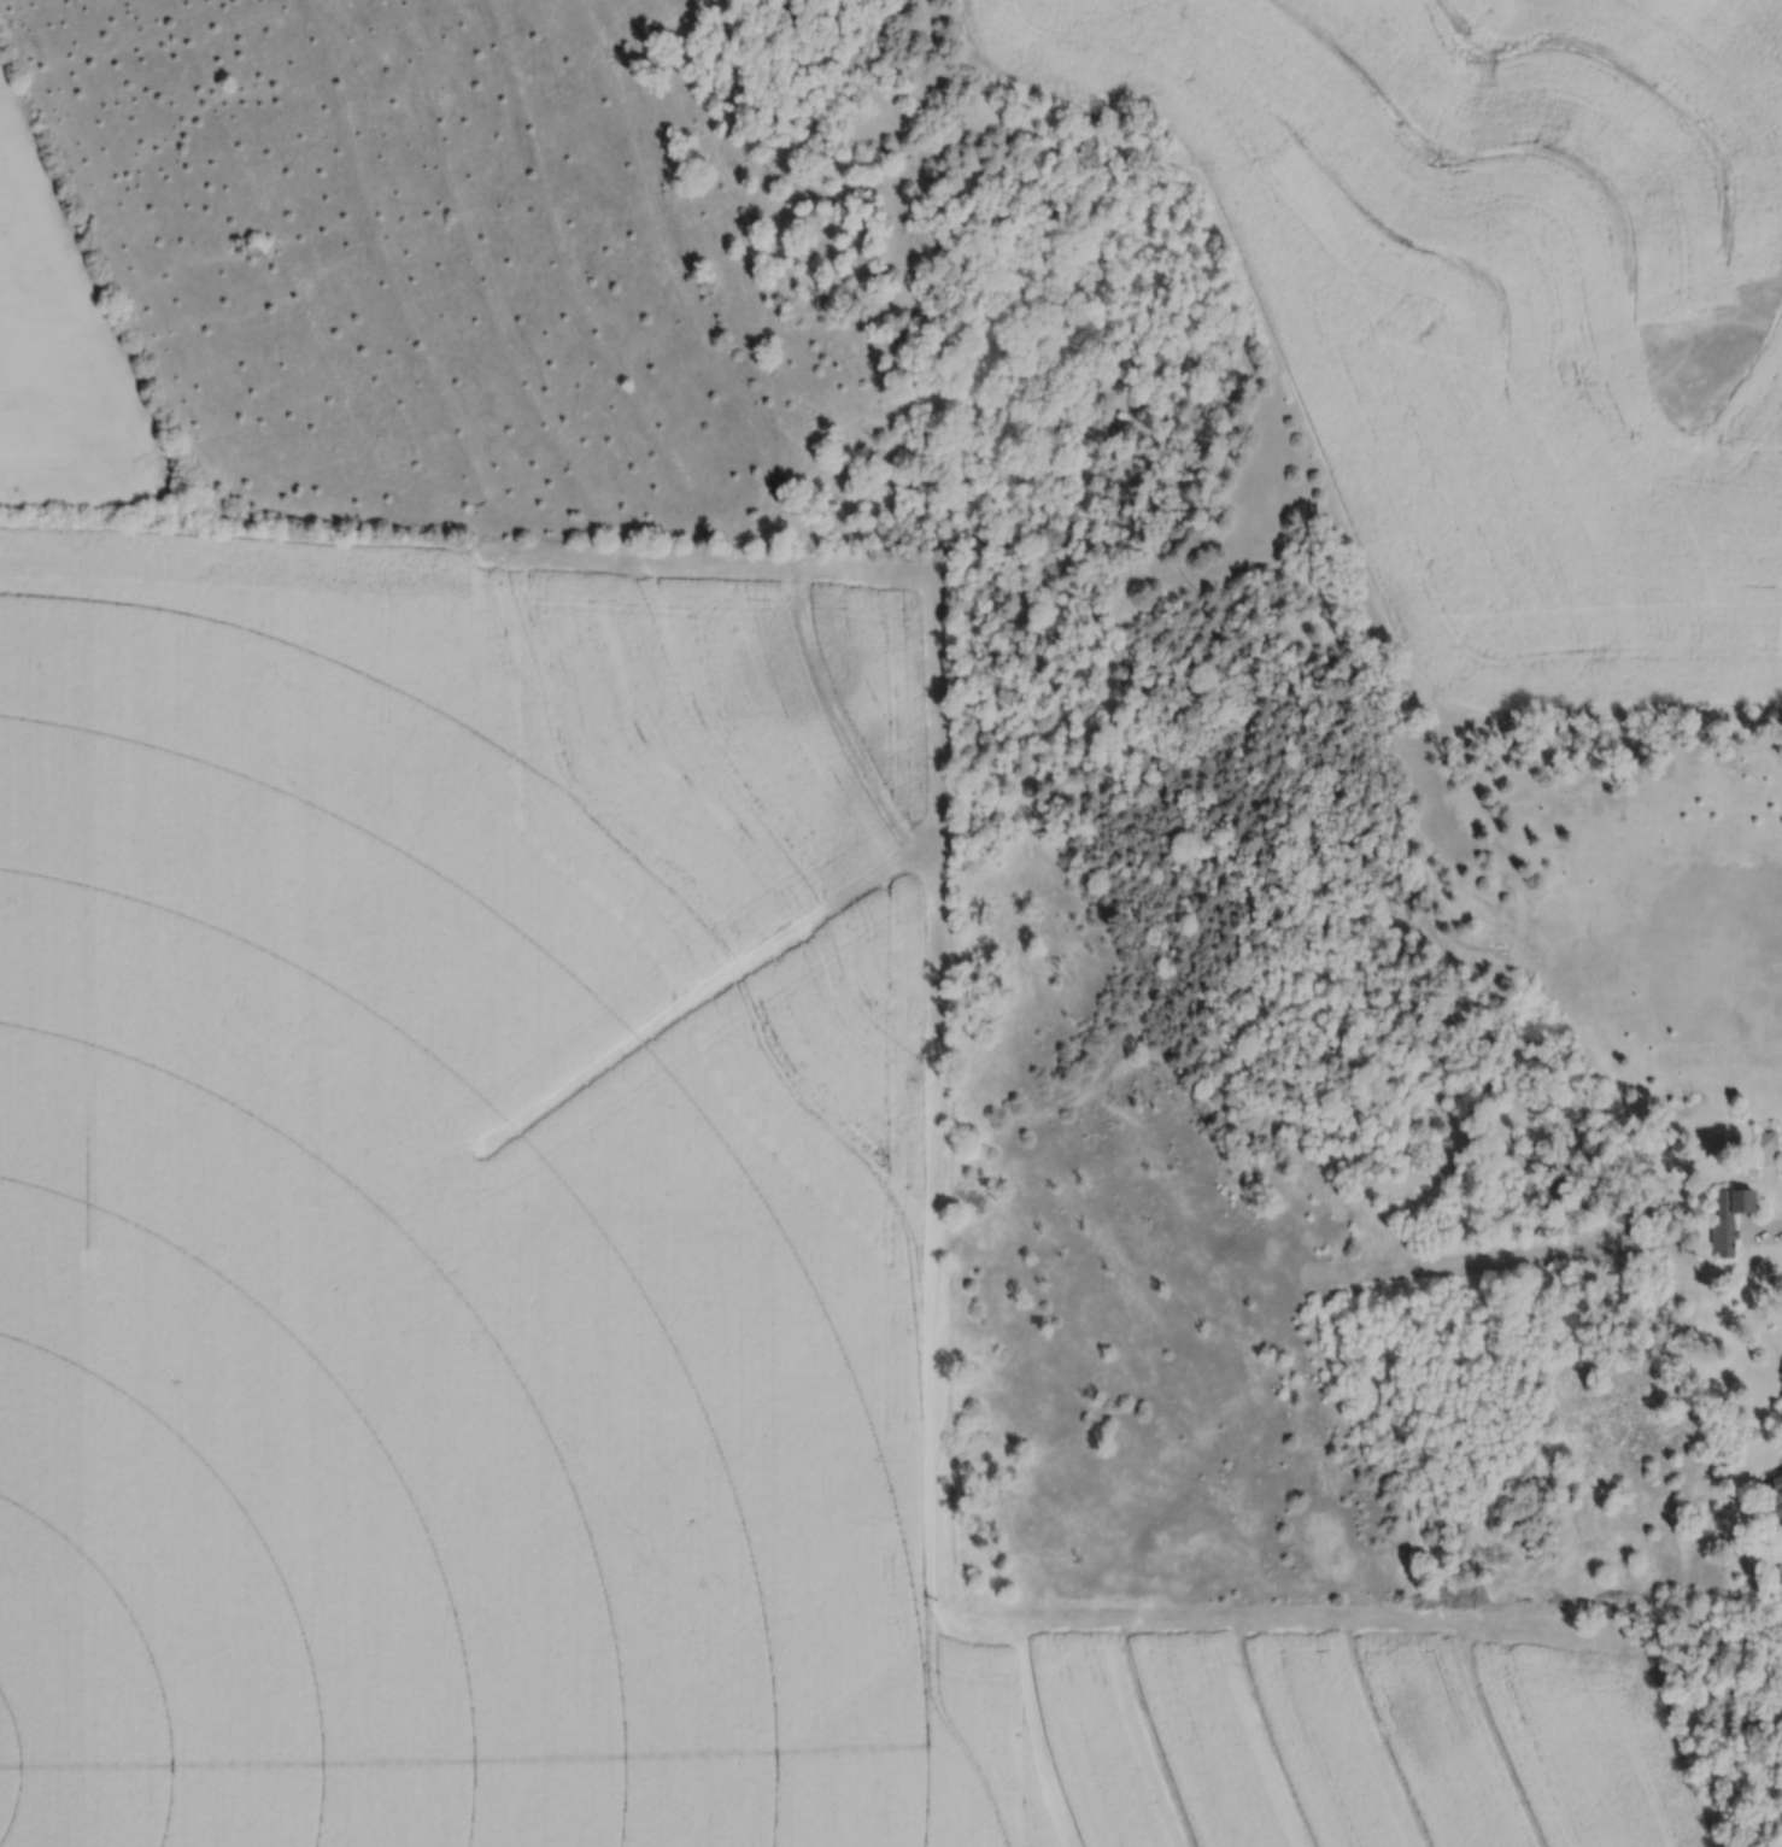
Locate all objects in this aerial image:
road: (1682, 797)
building: (1768, 1141)
building: (1727, 1218)
road: (1763, 1233)
building: (1776, 1494)
building: (1781, 1528)

